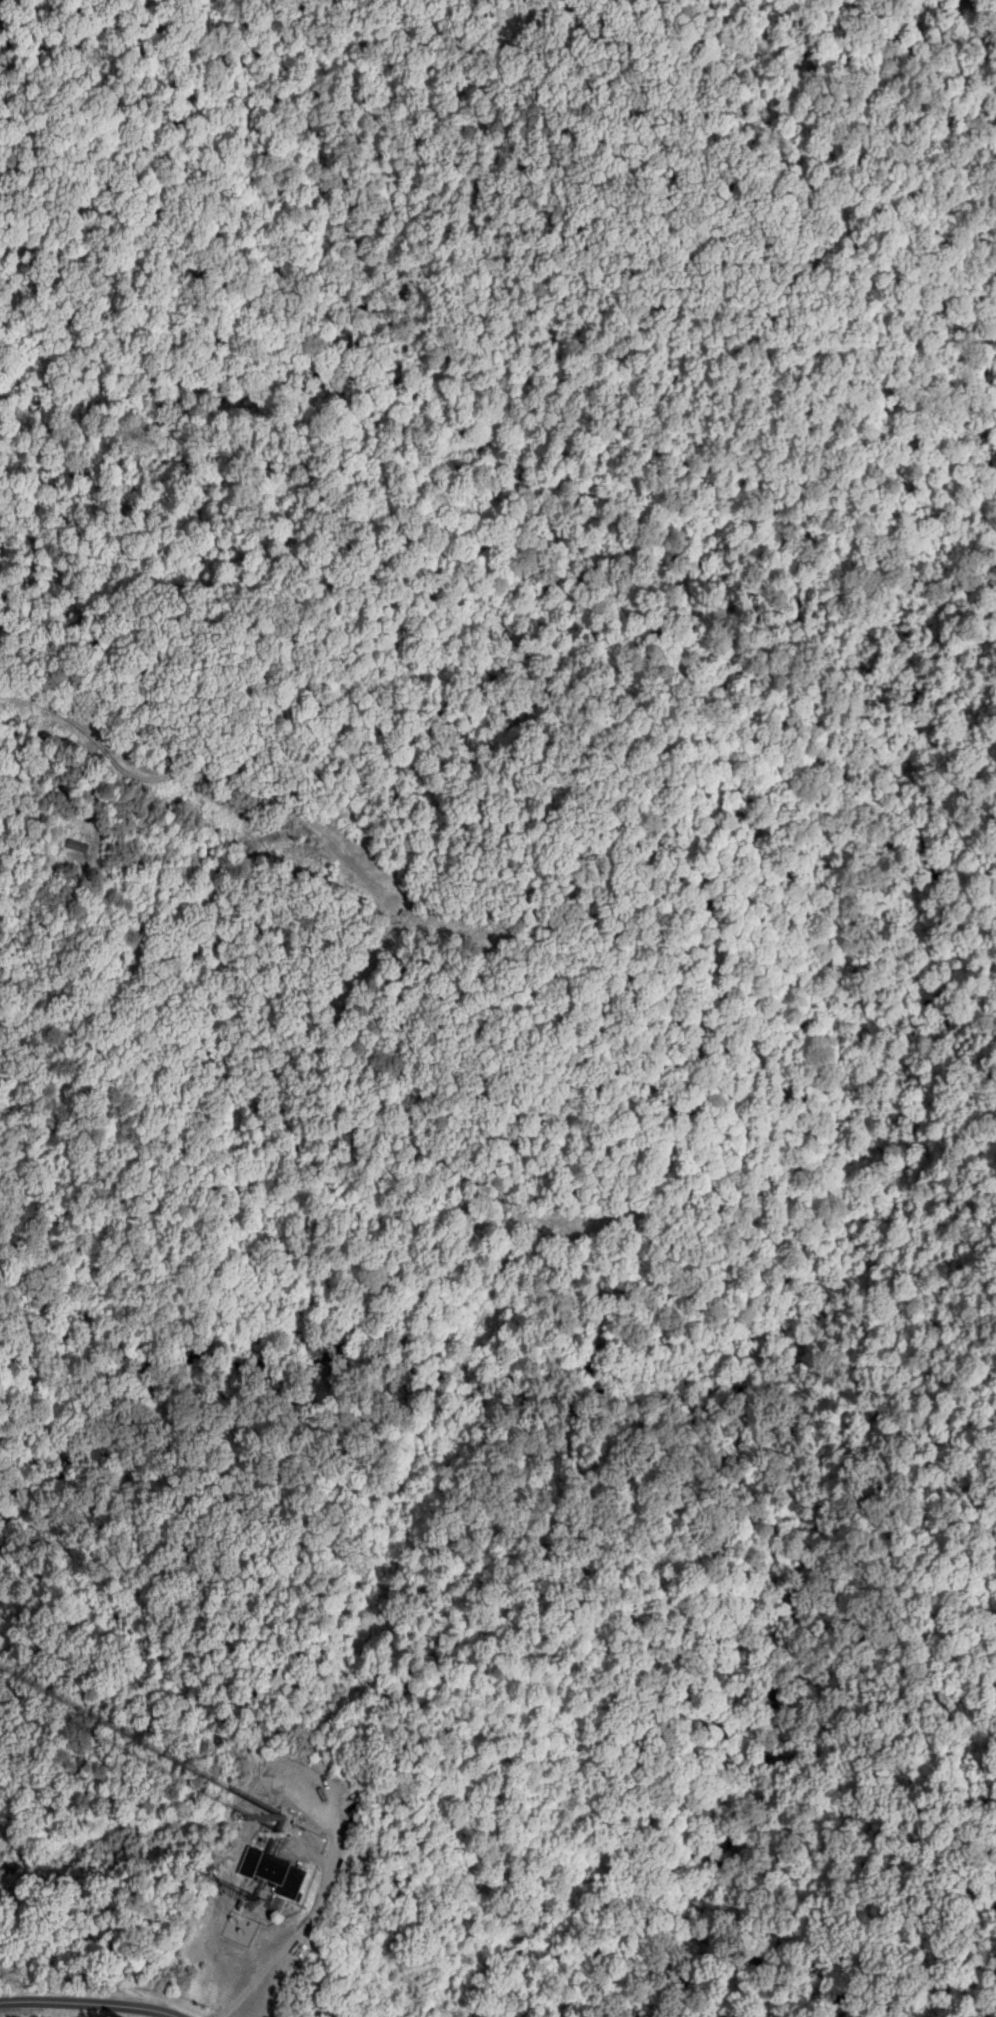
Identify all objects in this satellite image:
building: (79, 845)
building: (274, 1871)
road: (93, 1996)

